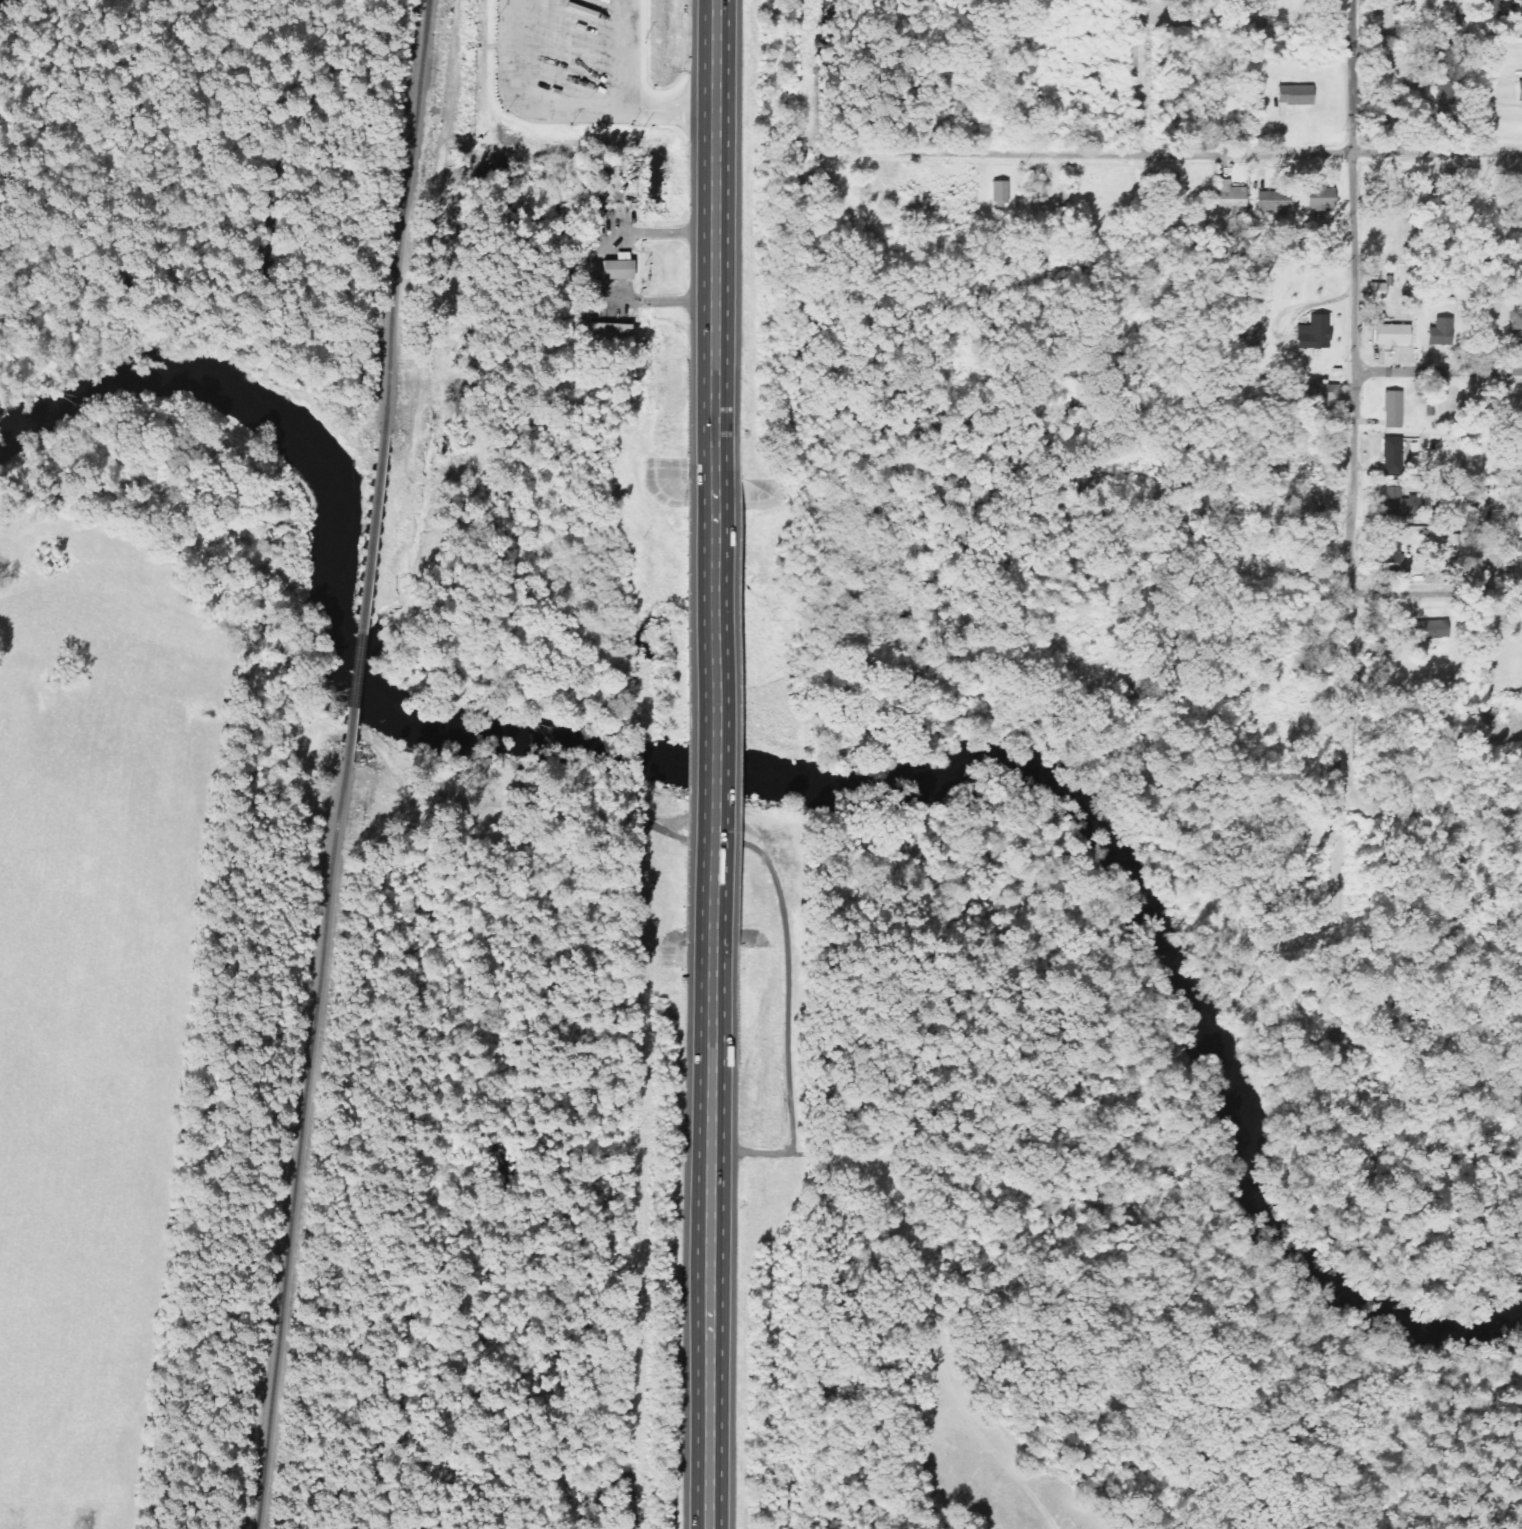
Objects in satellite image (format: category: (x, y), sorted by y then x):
building: (1516, 6)
building: (1488, 8)
building: (1172, 9)
road: (1135, 77)
building: (1519, 91)
building: (1295, 95)
building: (1443, 102)
road: (1163, 155)
road: (1357, 186)
railway: (412, 195)
building: (1230, 195)
building: (1321, 197)
building: (1273, 208)
road: (718, 235)
building: (618, 268)
building: (1377, 292)
building: (1516, 328)
building: (1315, 333)
building: (1441, 333)
building: (611, 334)
building: (1392, 335)
road: (1439, 372)
building: (1325, 393)
building: (1393, 409)
building: (1393, 456)
building: (1397, 504)
building: (1520, 558)
building: (1510, 560)
road: (1355, 592)
road: (1438, 593)
railway: (368, 599)
building: (1429, 630)
road: (715, 706)
river: (795, 785)
road: (1435, 810)
road: (787, 913)
railway: (301, 1167)
road: (713, 1235)

